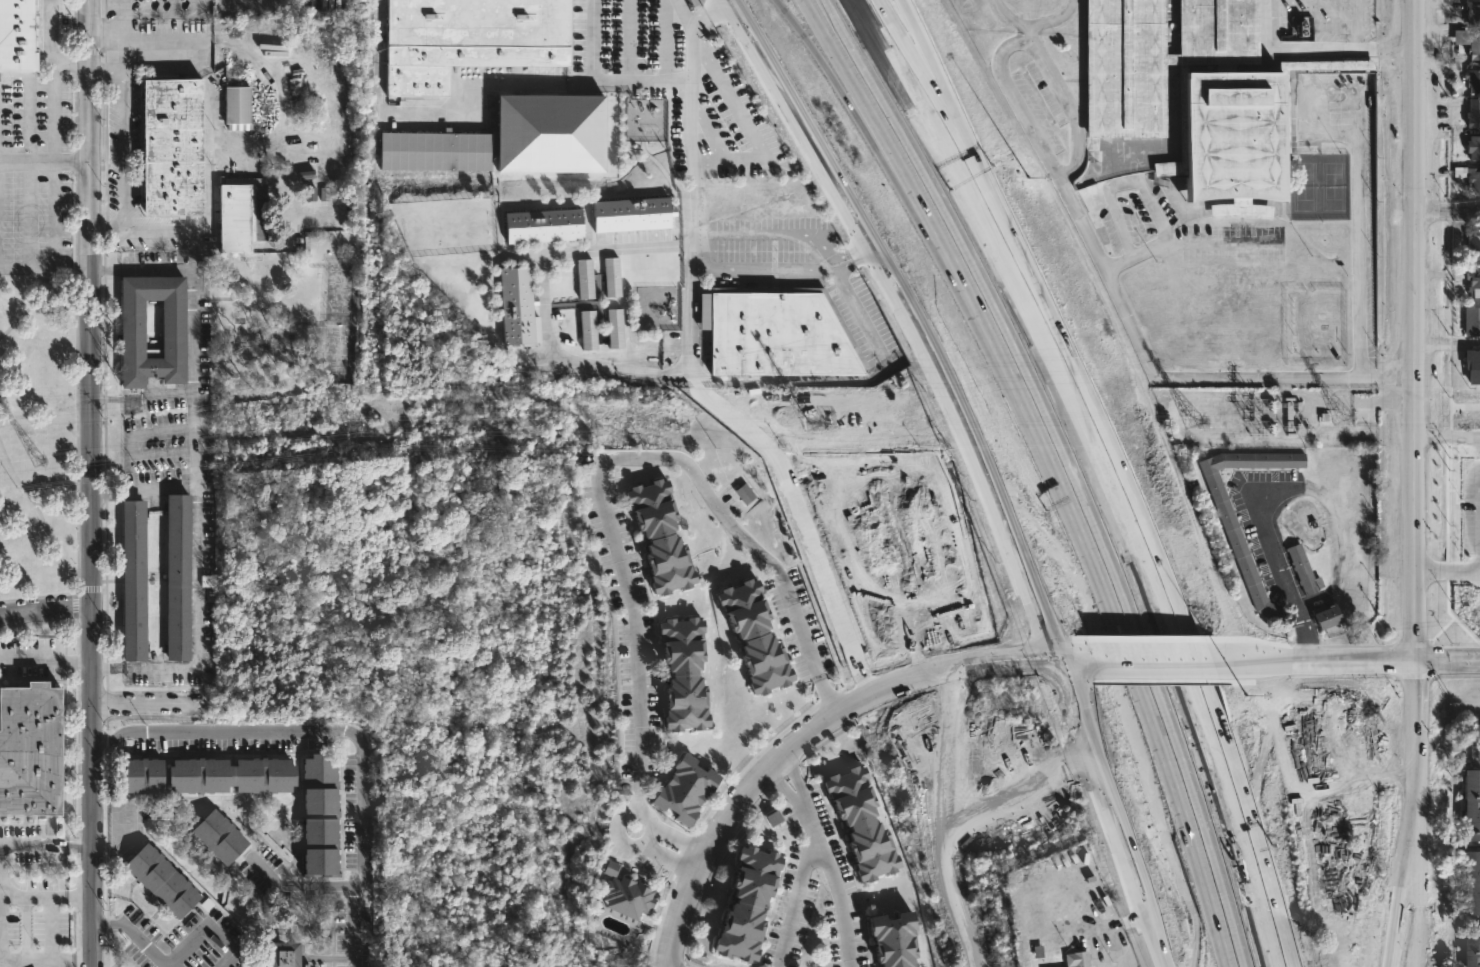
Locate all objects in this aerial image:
road: (685, 13)
building: (1473, 13)
road: (157, 15)
road: (121, 20)
road: (1361, 23)
road: (116, 24)
road: (883, 26)
road: (919, 32)
building: (15, 35)
building: (468, 39)
road: (629, 41)
road: (151, 46)
road: (1390, 46)
building: (1473, 46)
road: (1291, 47)
road: (812, 49)
road: (105, 69)
building: (1473, 77)
road: (665, 79)
road: (1053, 81)
road: (519, 83)
road: (905, 88)
building: (1198, 97)
building: (235, 106)
road: (689, 108)
building: (1473, 113)
road: (873, 119)
road: (746, 121)
building: (548, 133)
road: (123, 146)
building: (168, 147)
building: (1473, 148)
building: (434, 152)
road: (45, 163)
road: (55, 163)
road: (889, 175)
building: (1473, 179)
road: (1134, 180)
road: (1447, 211)
building: (240, 215)
building: (631, 217)
road: (992, 224)
road: (1010, 230)
road: (112, 231)
road: (159, 232)
road: (770, 234)
building: (1474, 243)
road: (849, 258)
road: (1363, 262)
road: (1121, 265)
road: (748, 267)
road: (192, 278)
building: (1473, 284)
road: (87, 303)
road: (45, 306)
building: (1471, 319)
road: (1130, 321)
building: (129, 324)
road: (1414, 330)
building: (777, 333)
road: (553, 350)
building: (1472, 365)
road: (1390, 374)
road: (157, 395)
road: (103, 397)
road: (1447, 406)
power substation: (1271, 417)
power tower: (1338, 418)
power tower: (823, 419)
power tower: (1194, 419)
power tower: (352, 421)
road: (1092, 428)
park: (42, 431)
road: (1448, 436)
power tower: (40, 459)
road: (615, 461)
road: (978, 468)
road: (195, 479)
building: (745, 495)
road: (103, 497)
road: (44, 498)
building: (1234, 536)
building: (661, 537)
road: (1267, 561)
building: (1302, 571)
road: (1477, 572)
road: (1448, 573)
building: (177, 577)
building: (133, 581)
road: (1108, 596)
road: (43, 612)
building: (1327, 618)
road: (196, 631)
building: (755, 636)
road: (43, 658)
road: (1150, 660)
road: (1071, 661)
road: (1315, 661)
road: (1449, 661)
building: (683, 674)
road: (151, 702)
road: (1208, 707)
road: (1418, 708)
road: (340, 730)
road: (799, 736)
building: (29, 751)
building: (140, 775)
building: (228, 775)
road: (91, 786)
building: (683, 789)
road: (799, 794)
road: (1009, 803)
building: (1472, 806)
building: (319, 817)
road: (1407, 819)
road: (926, 821)
building: (861, 824)
building: (216, 835)
road: (676, 838)
road: (628, 843)
road: (45, 844)
road: (670, 852)
building: (159, 879)
building: (1470, 882)
road: (297, 886)
building: (624, 892)
road: (38, 897)
road: (798, 898)
road: (837, 899)
building: (748, 904)
road: (106, 923)
road: (1117, 924)
road: (1387, 925)
road: (203, 931)
building: (893, 938)
road: (144, 944)
building: (1470, 945)
building: (281, 954)
building: (1076, 958)
road: (27, 959)
road: (166, 966)

